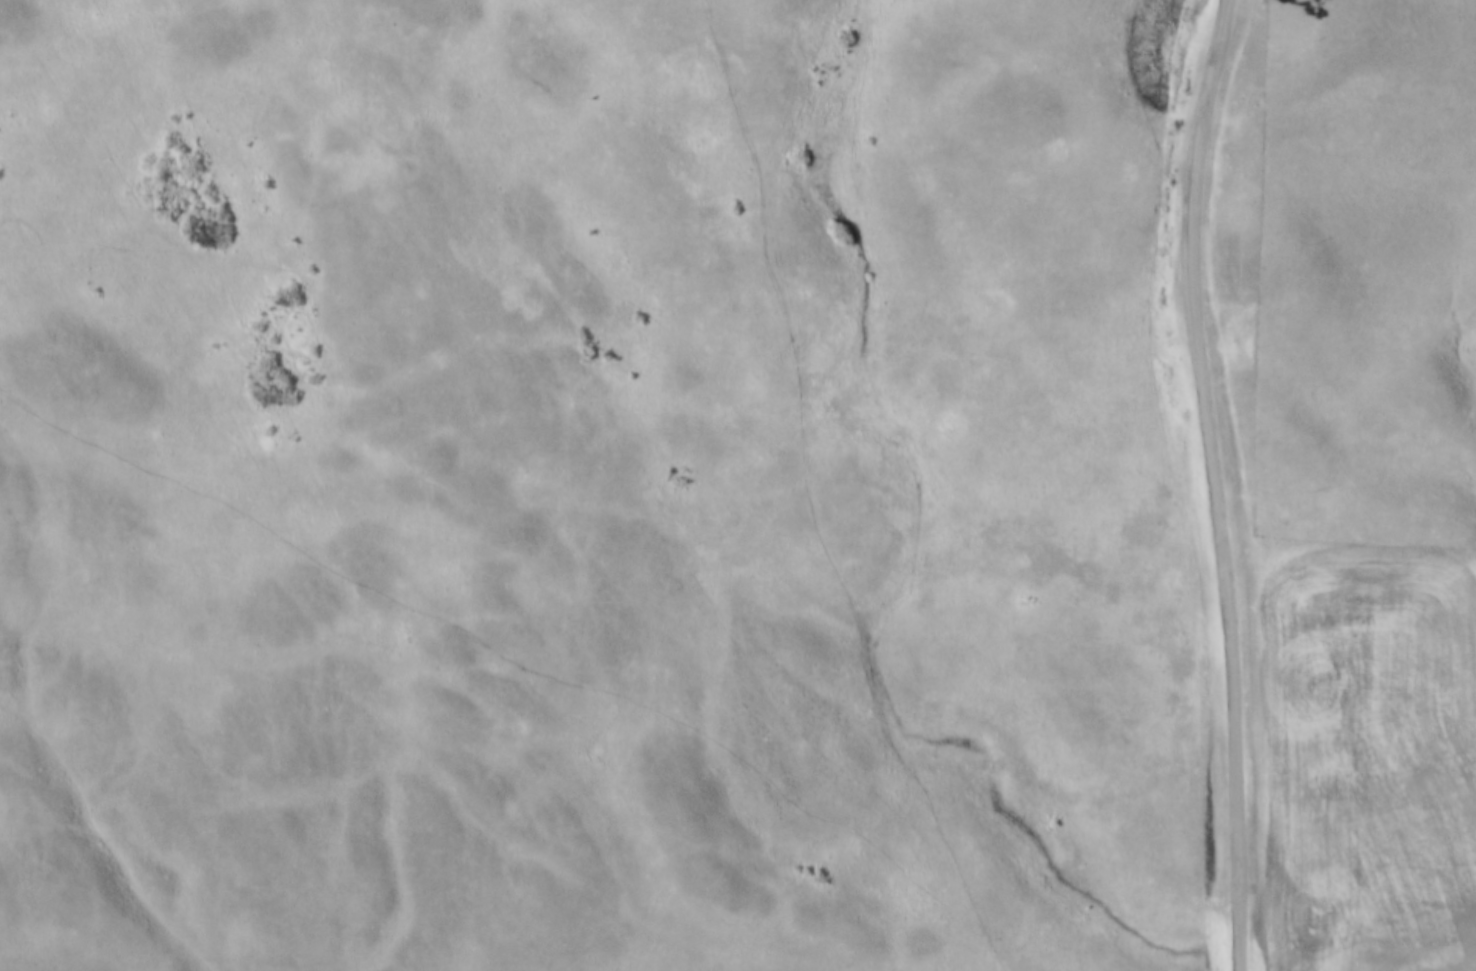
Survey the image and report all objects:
road: (1220, 483)

